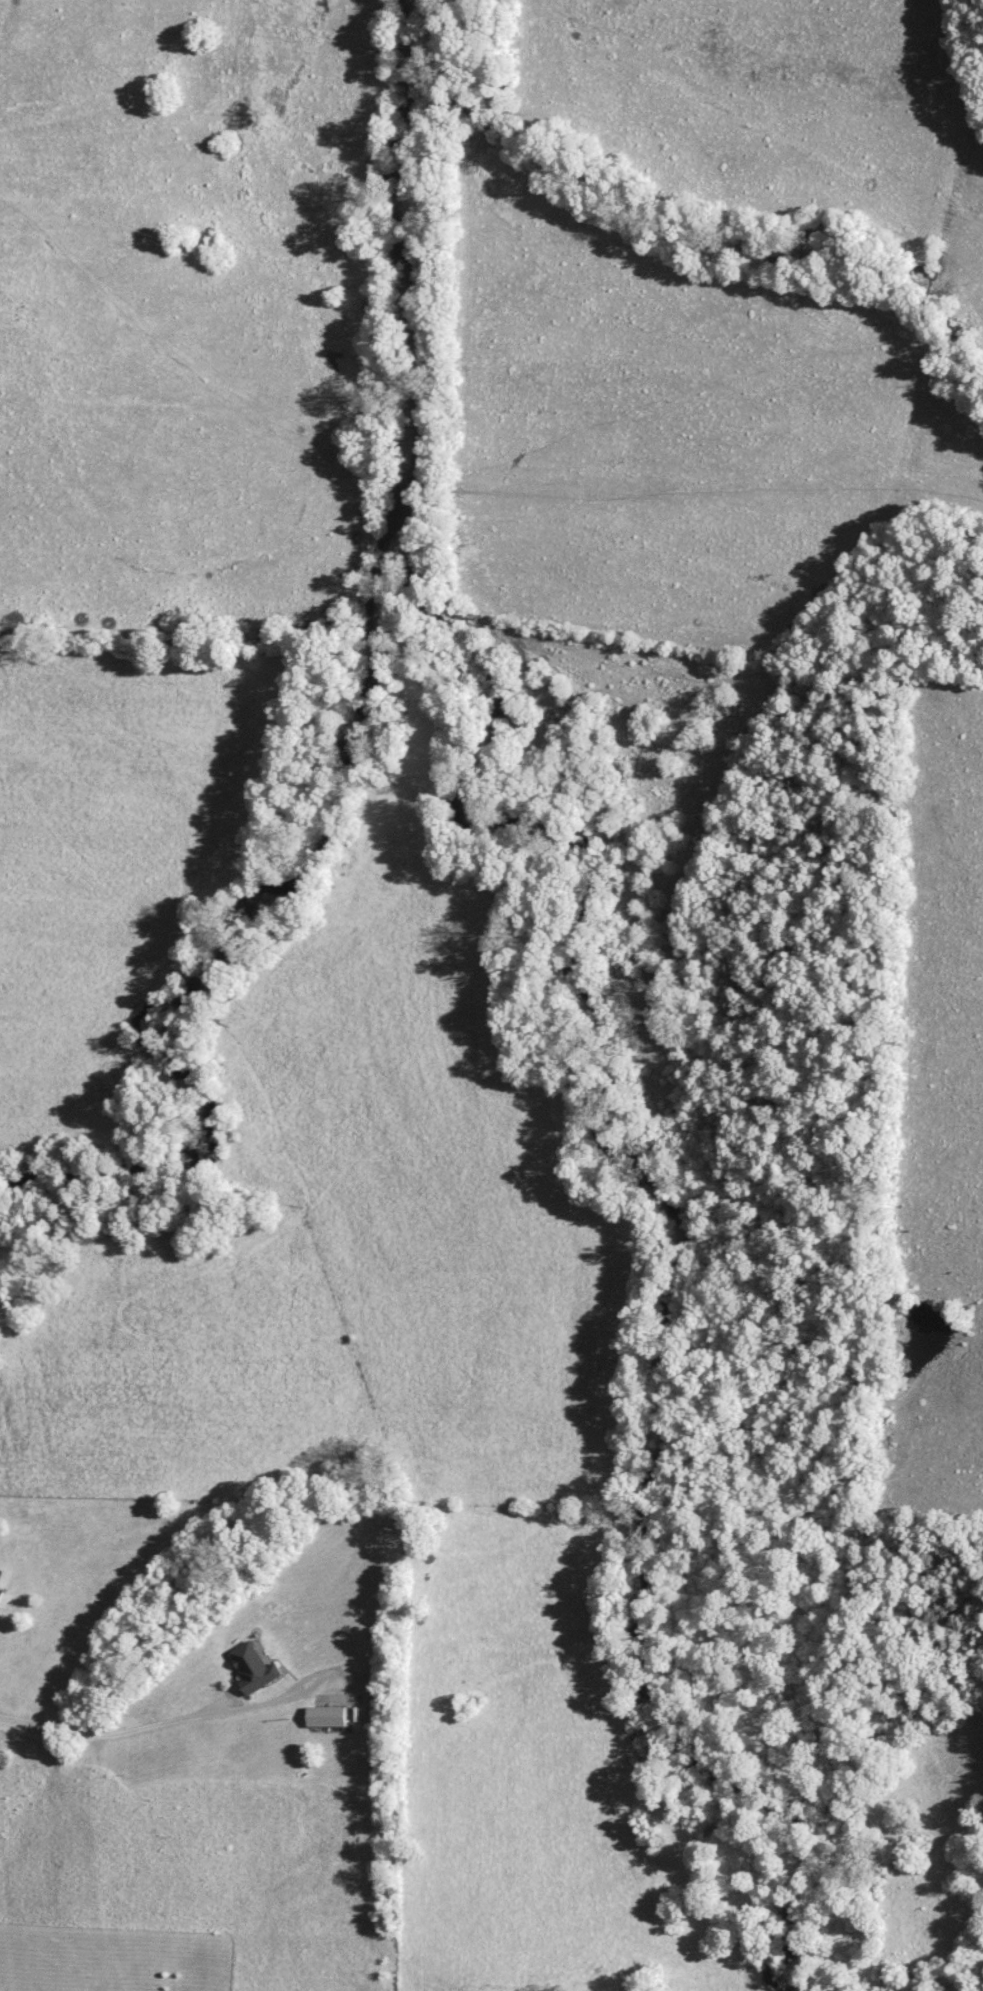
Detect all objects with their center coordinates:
building: (2, 1592)
building: (254, 1667)
building: (328, 1716)
road: (113, 1734)

